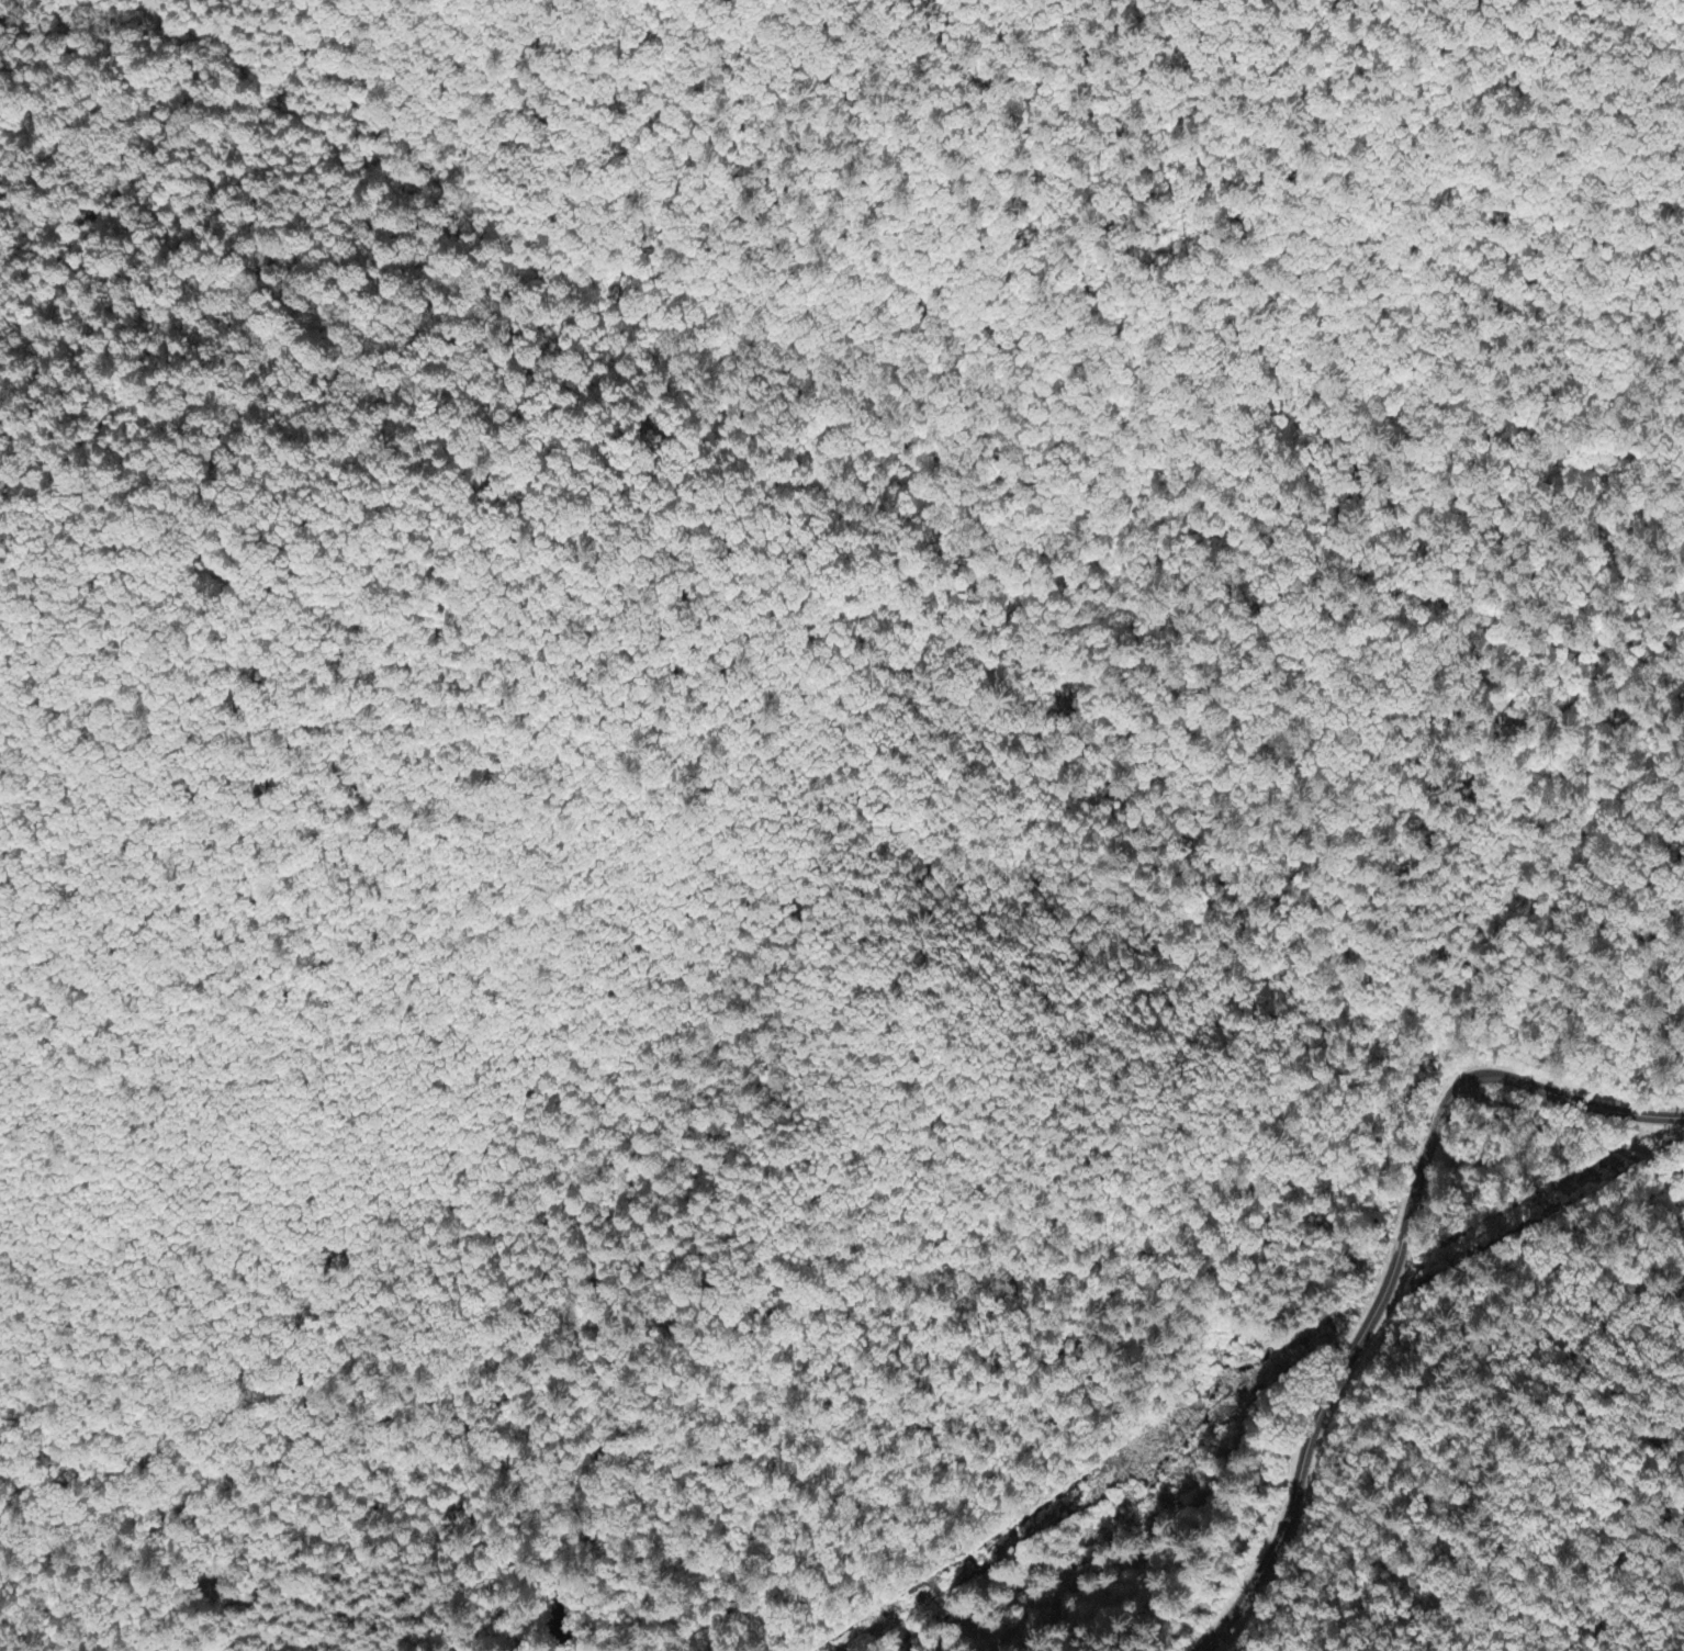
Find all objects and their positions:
road: (1554, 1093)
road: (1498, 1103)
road: (1439, 1119)
road: (1610, 1146)
road: (1327, 1396)

